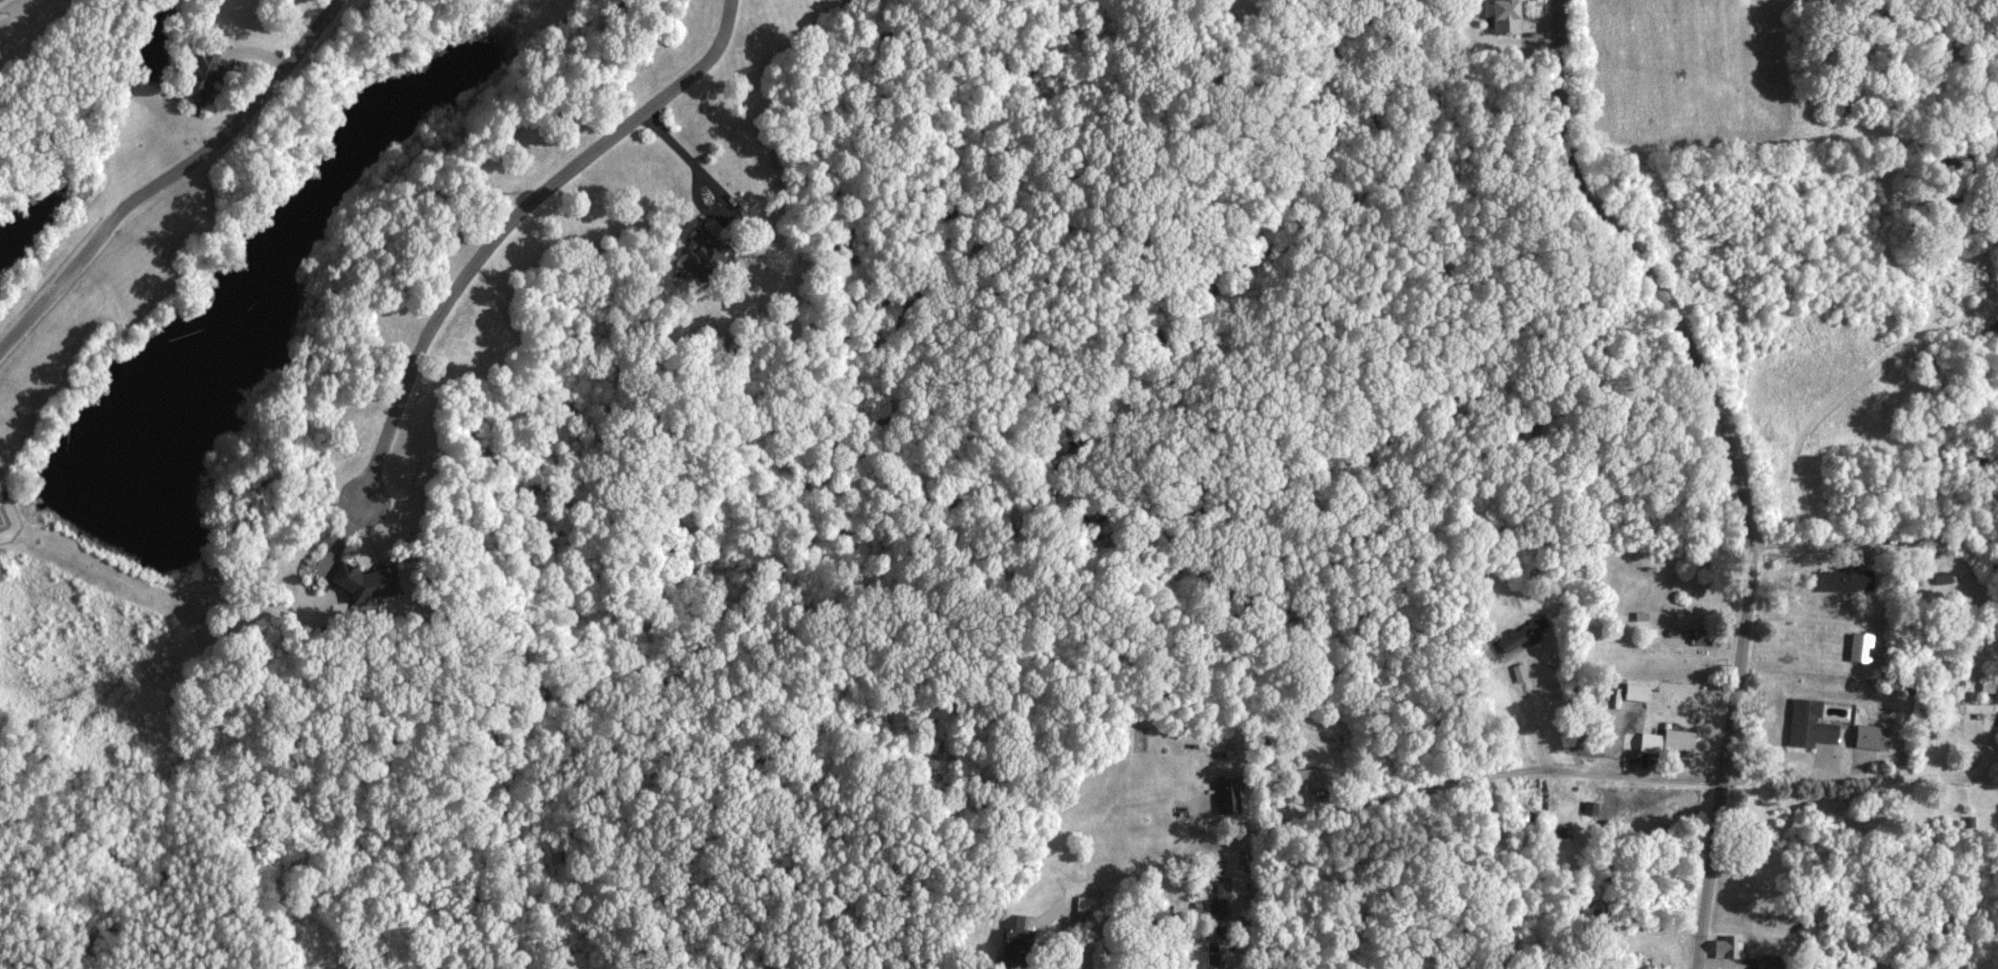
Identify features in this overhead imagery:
building: (1501, 15)
road: (174, 189)
road: (516, 222)
building: (705, 251)
road: (1738, 465)
building: (1, 496)
road: (1843, 531)
building: (1939, 578)
building: (1843, 579)
building: (370, 582)
building: (1521, 635)
building: (1858, 646)
building: (1517, 672)
building: (1630, 691)
road: (1534, 720)
building: (1806, 724)
building: (1868, 736)
building: (1664, 740)
road: (1498, 780)
building: (1226, 796)
building: (1009, 929)
building: (1724, 947)
building: (1767, 966)

